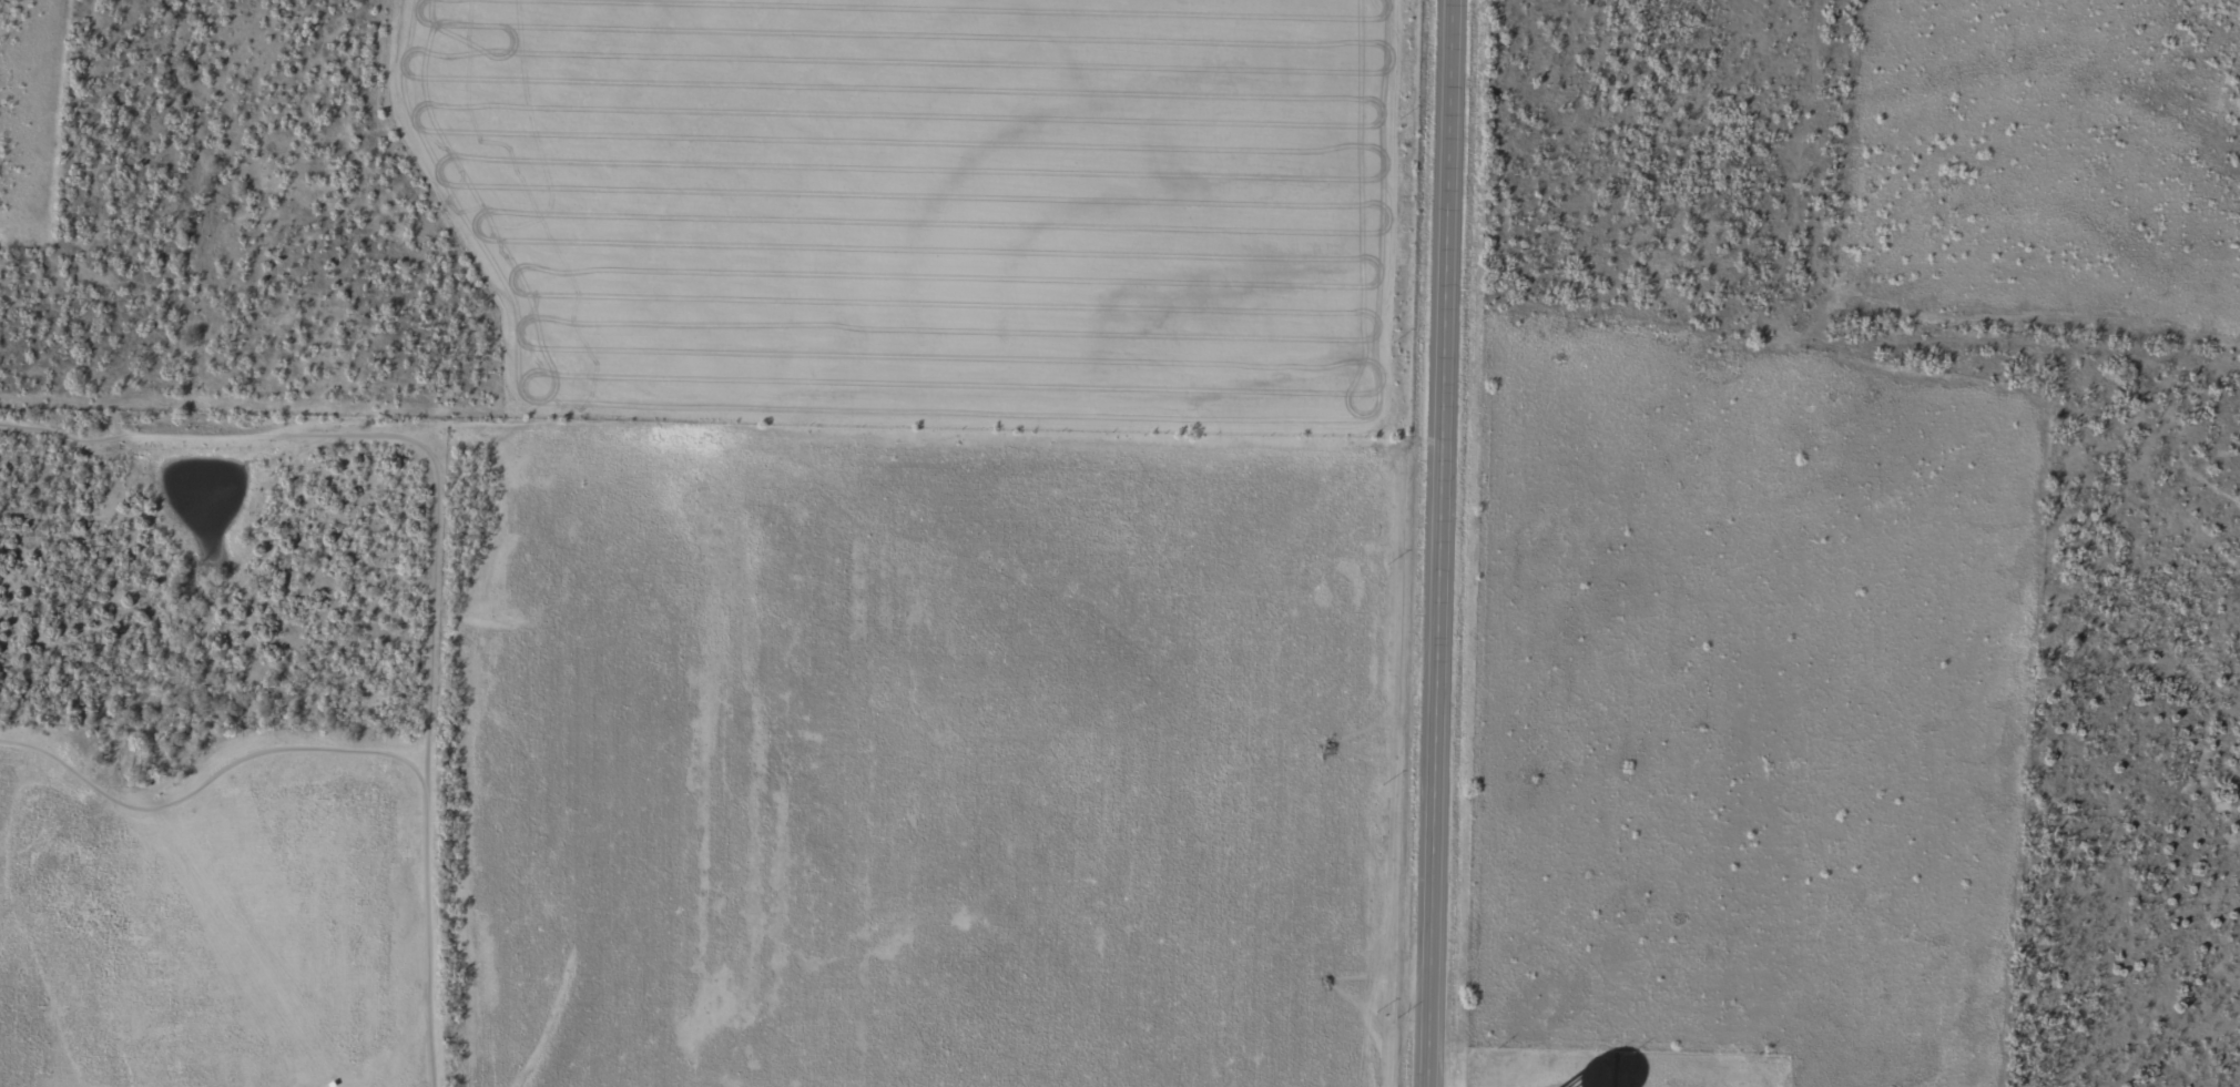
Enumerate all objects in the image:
road: (1843, 372)
road: (1446, 543)

